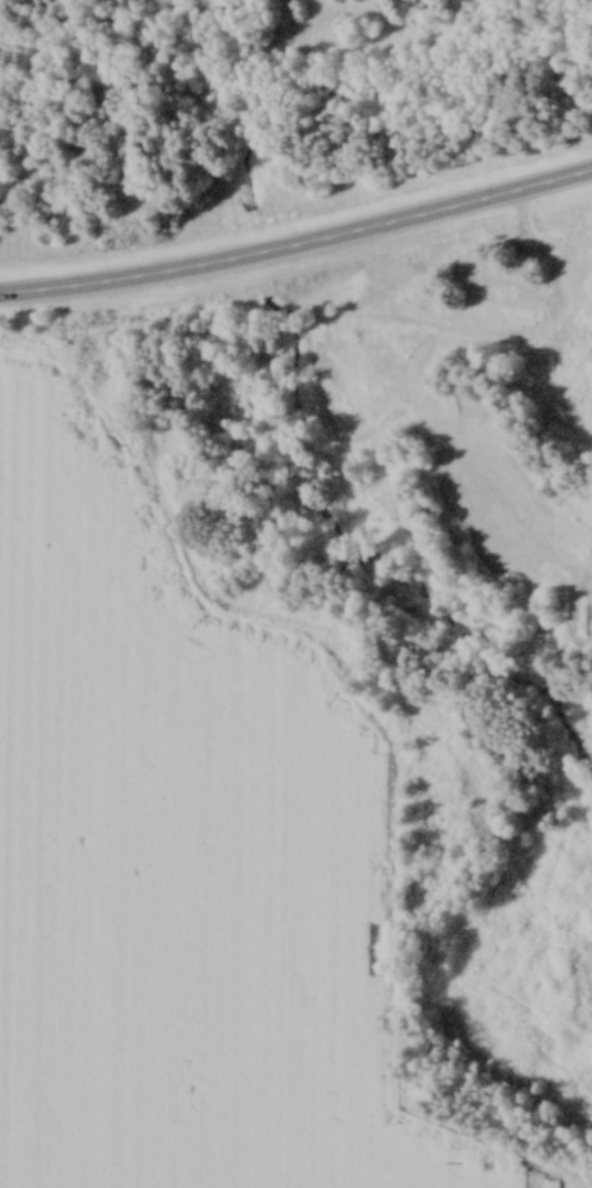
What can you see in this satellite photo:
road: (298, 245)

